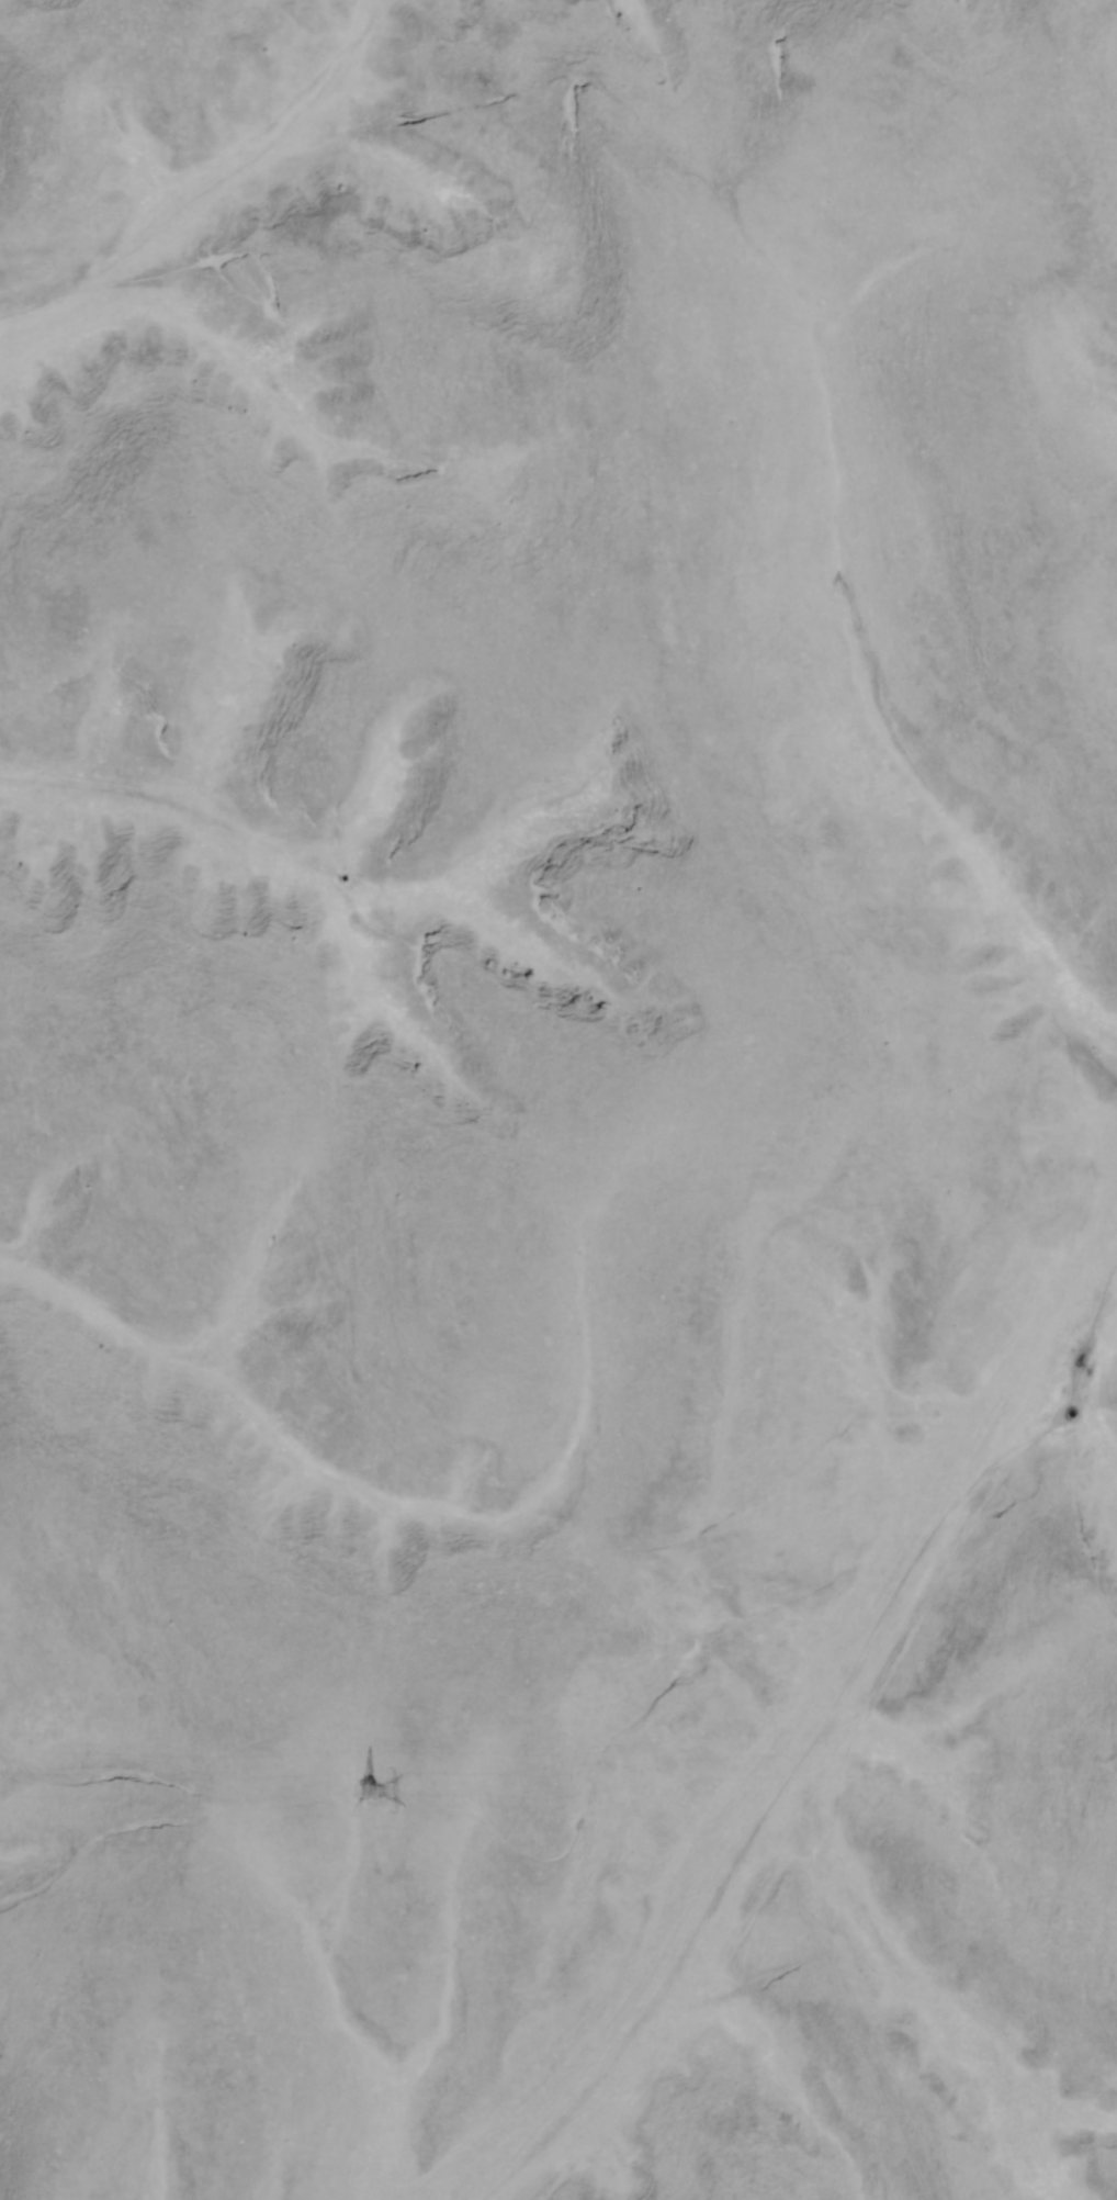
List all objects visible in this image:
power tower: (365, 1789)

